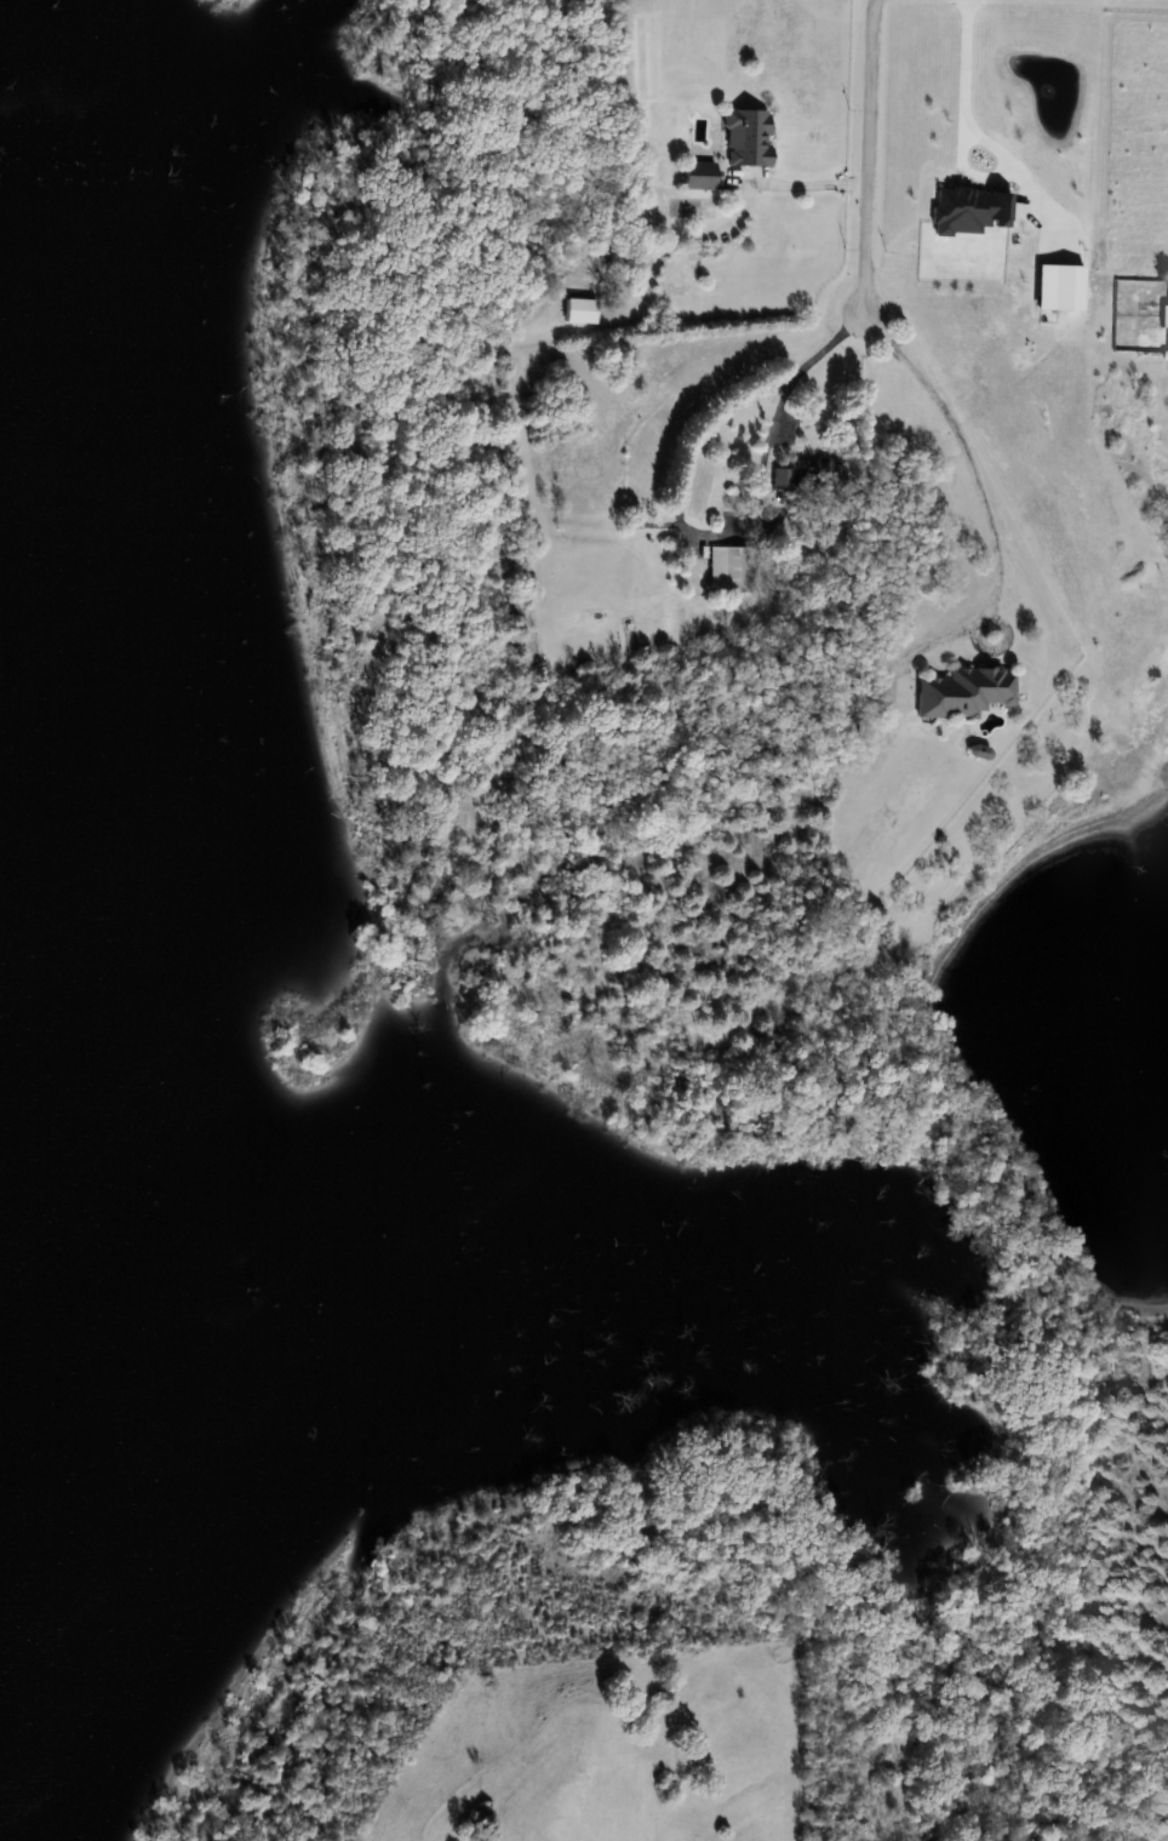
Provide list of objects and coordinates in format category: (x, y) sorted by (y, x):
road: (968, 63)
building: (746, 137)
road: (869, 158)
road: (998, 175)
building: (699, 176)
road: (812, 184)
building: (580, 310)
road: (796, 371)
building: (36, 423)
building: (802, 478)
building: (729, 570)
building: (966, 692)
building: (48, 1053)
building: (334, 1314)
building: (56, 1628)

